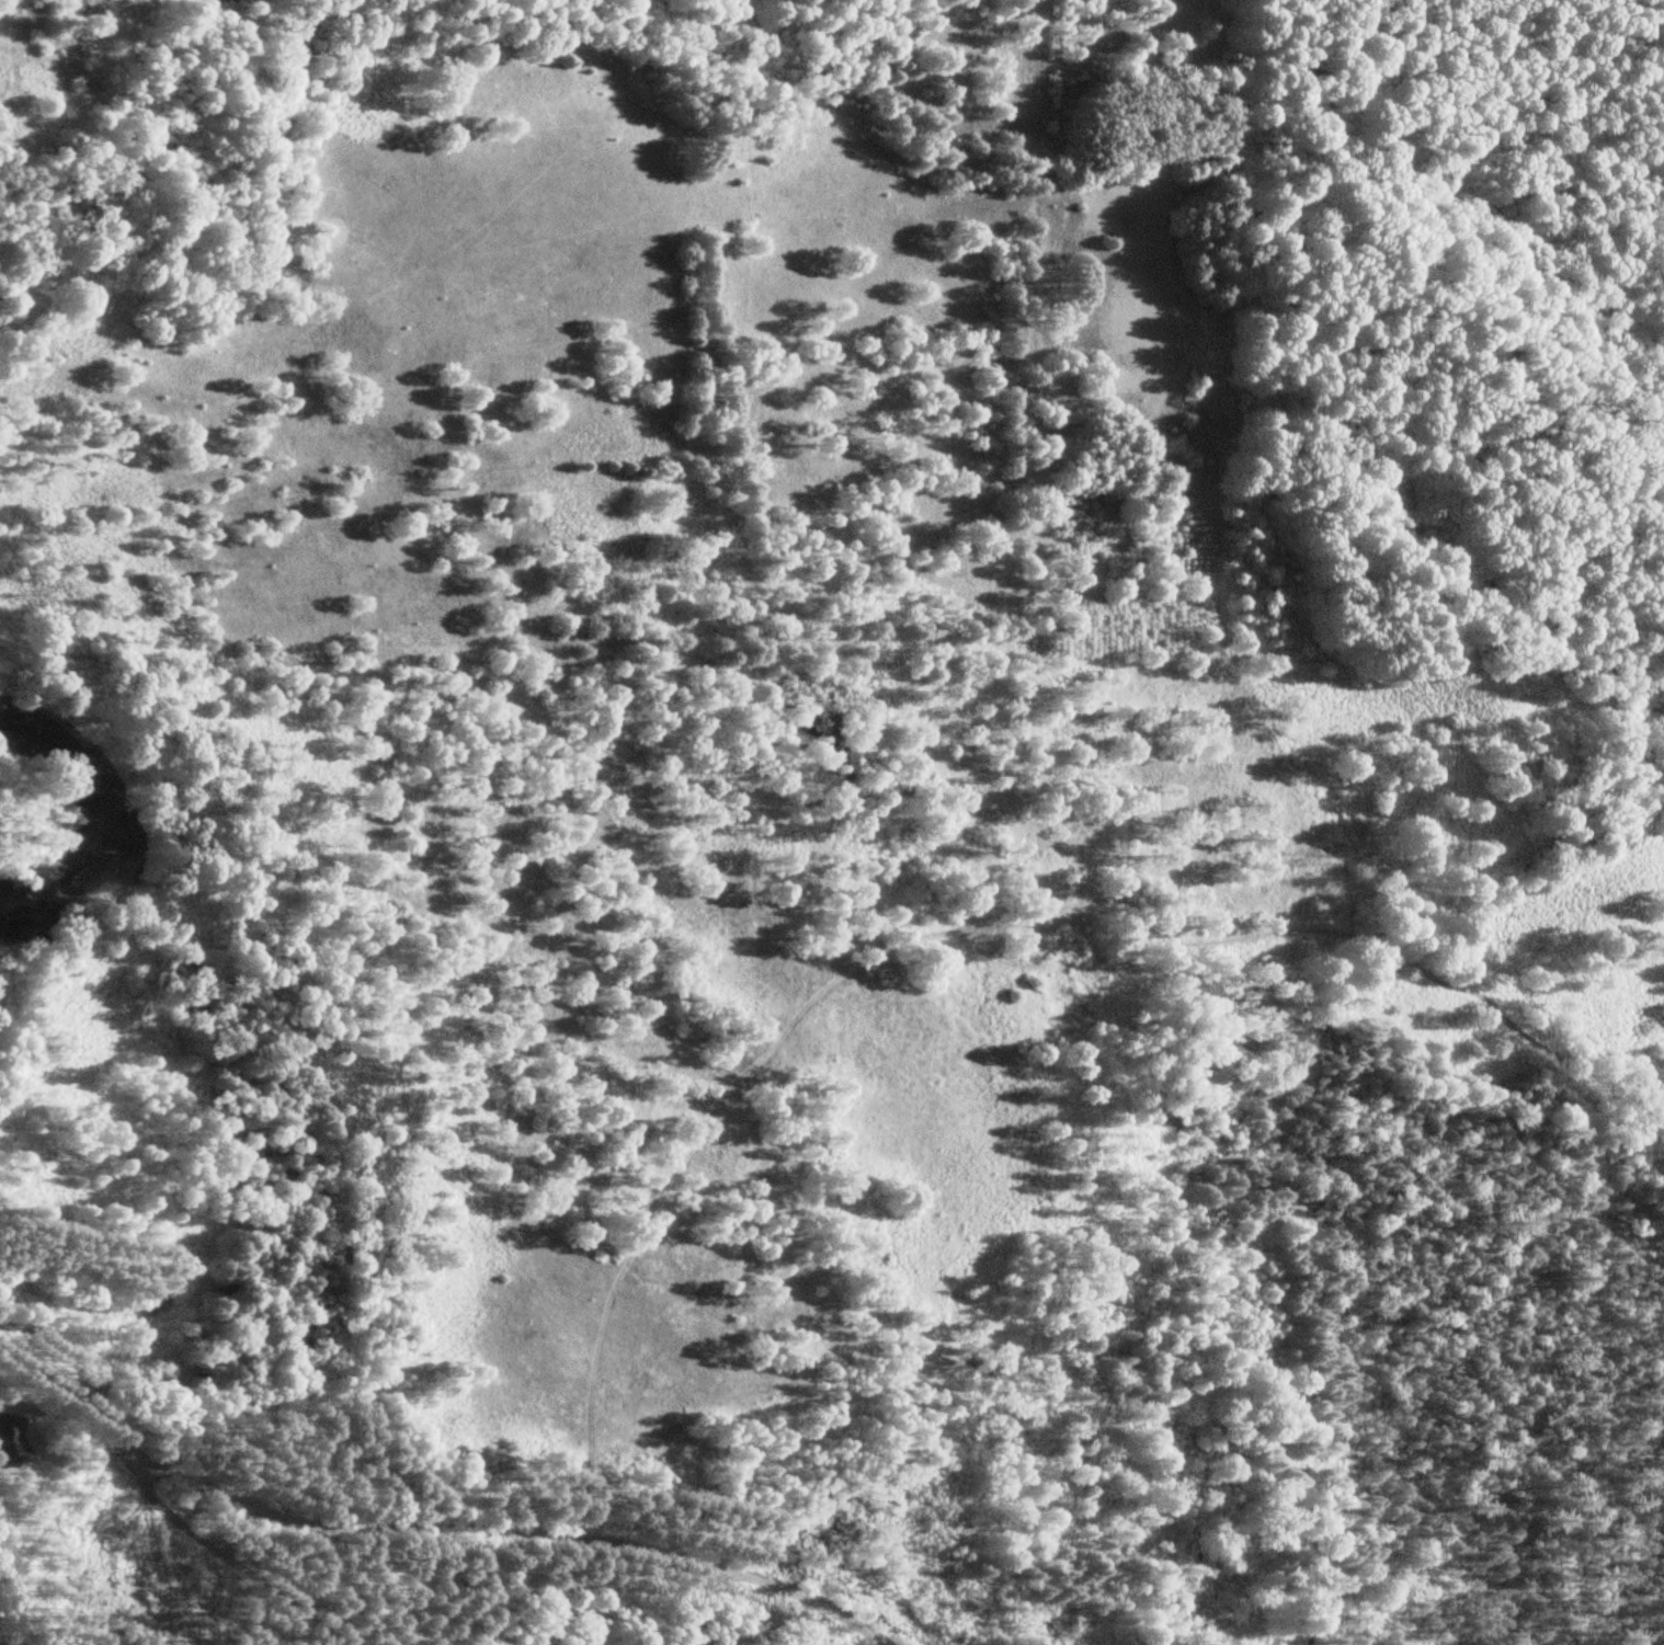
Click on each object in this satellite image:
road: (945, 930)
road: (1651, 1109)
building: (11, 1427)
road: (411, 1522)

